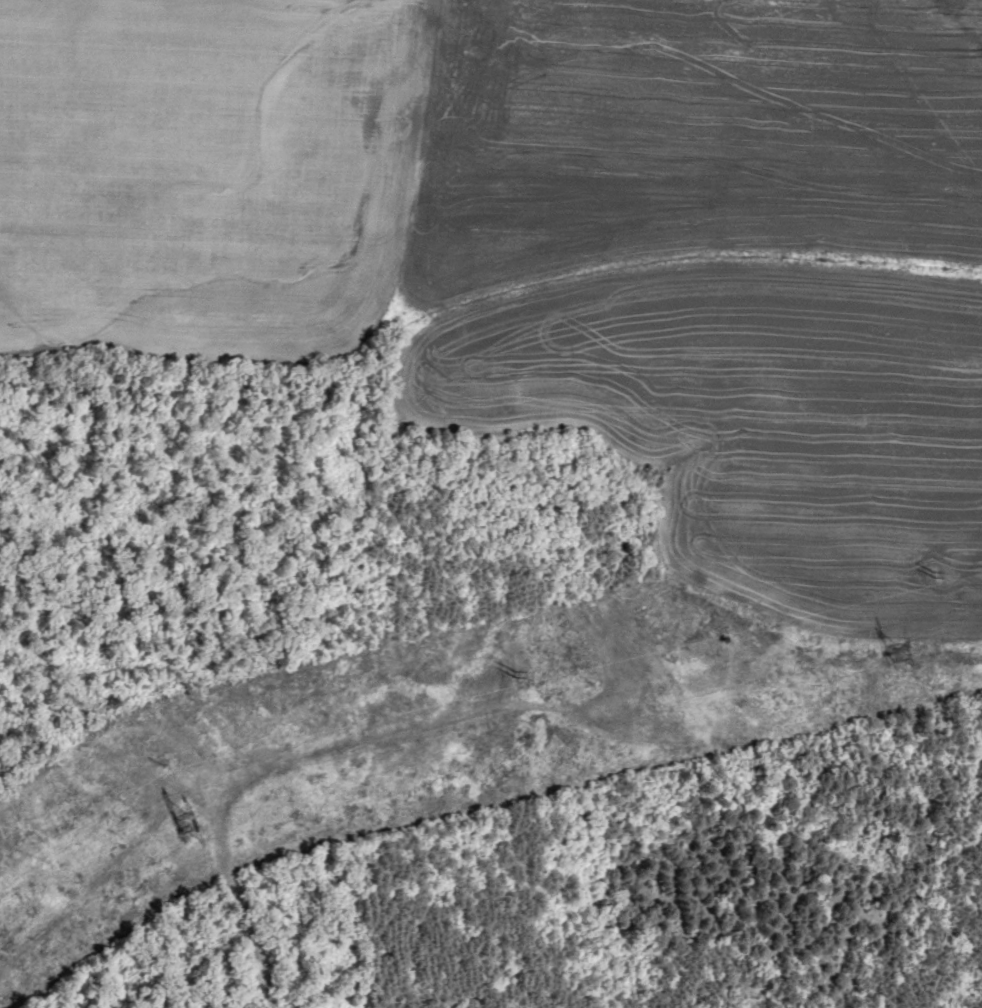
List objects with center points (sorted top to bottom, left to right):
power tower: (898, 651)
power tower: (181, 819)

